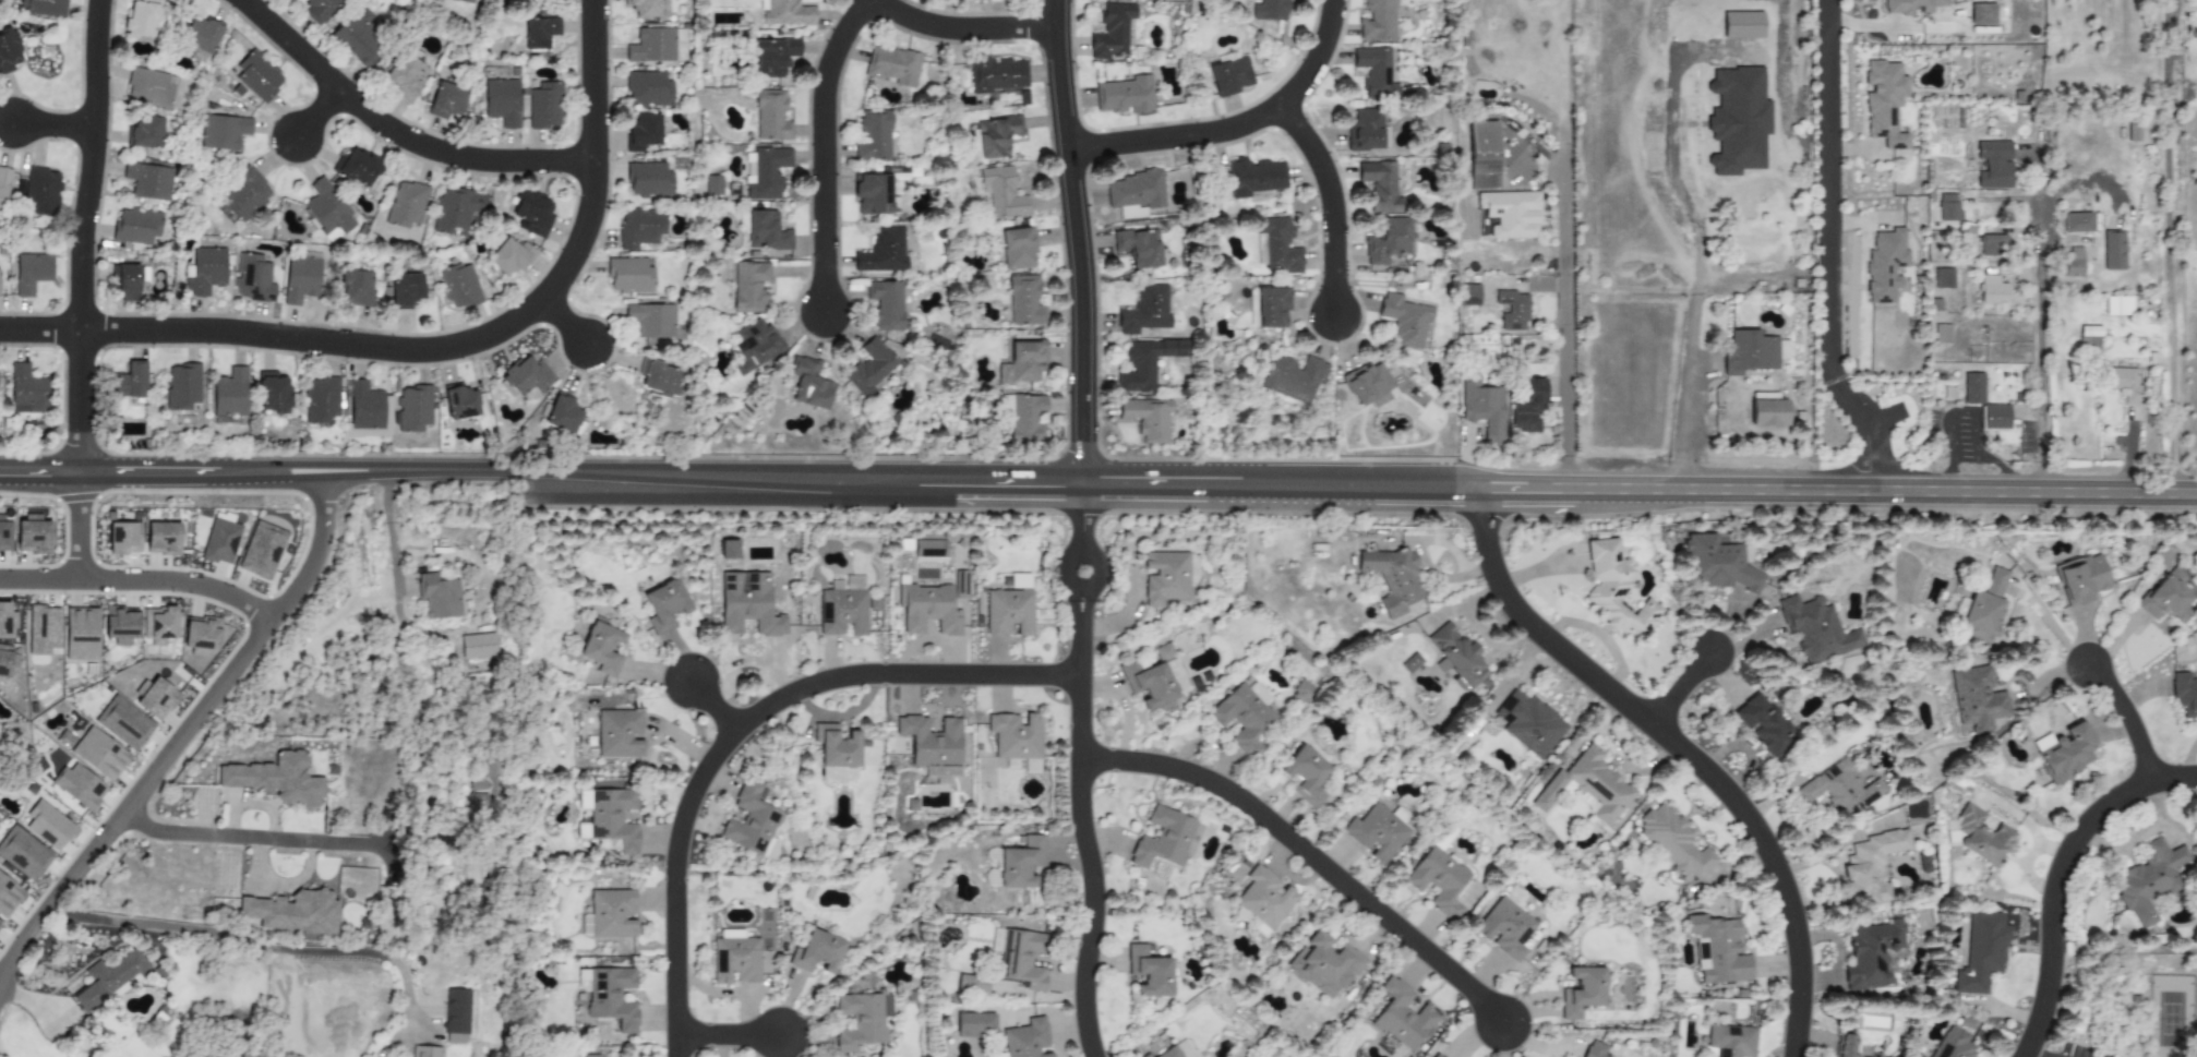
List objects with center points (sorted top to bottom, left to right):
building: (979, 0)
building: (472, 1)
building: (1911, 5)
building: (45, 8)
building: (643, 8)
building: (317, 9)
building: (1269, 10)
building: (785, 13)
building: (141, 19)
building: (1378, 21)
street lamp: (611, 25)
road: (962, 28)
building: (1112, 31)
building: (539, 33)
building: (201, 35)
building: (358, 37)
building: (651, 45)
building: (9, 50)
building: (773, 57)
building: (892, 65)
street lamp: (611, 67)
building: (1374, 72)
building: (405, 73)
building: (997, 74)
building: (256, 76)
building: (1229, 76)
building: (149, 87)
building: (648, 89)
building: (1124, 95)
building: (445, 100)
building: (501, 101)
building: (1884, 101)
building: (543, 106)
road: (317, 112)
building: (770, 115)
street lamp: (1188, 118)
road: (51, 125)
road: (1234, 127)
building: (1365, 129)
building: (223, 131)
building: (643, 131)
building: (146, 132)
road: (394, 132)
building: (2133, 132)
building: (874, 135)
building: (996, 136)
road: (821, 149)
building: (1482, 155)
road: (591, 156)
building: (1993, 164)
building: (357, 167)
building: (765, 172)
building: (1254, 178)
building: (648, 179)
building: (148, 180)
building: (712, 185)
building: (3, 187)
building: (1380, 187)
building: (39, 191)
building: (1003, 193)
building: (1134, 193)
building: (872, 194)
building: (244, 195)
road: (1331, 202)
building: (406, 205)
building: (1948, 207)
building: (456, 209)
building: (327, 211)
building: (532, 213)
building: (1510, 213)
street lamp: (840, 223)
building: (2076, 223)
building: (136, 226)
building: (639, 228)
building: (766, 231)
road: (81, 235)
building: (1388, 241)
road: (1076, 242)
building: (1275, 245)
building: (1992, 245)
building: (1139, 247)
road: (2169, 247)
building: (1018, 249)
building: (2112, 250)
building: (883, 251)
road: (1832, 252)
building: (509, 256)
building: (2070, 263)
building: (1885, 266)
building: (204, 271)
street lamp: (1059, 271)
building: (31, 272)
building: (628, 275)
building: (253, 278)
building: (300, 278)
building: (1942, 278)
building: (128, 284)
road: (1743, 284)
building: (459, 286)
building: (749, 287)
building: (356, 288)
building: (405, 290)
building: (1992, 290)
building: (1467, 295)
building: (1024, 301)
building: (886, 304)
building: (1271, 308)
building: (1512, 310)
building: (1145, 311)
street lamp: (227, 313)
road: (1568, 316)
building: (651, 320)
building: (1405, 320)
road: (563, 322)
road: (39, 329)
building: (1941, 333)
street lamp: (803, 338)
road: (316, 340)
building: (2088, 343)
building: (755, 346)
road: (1694, 348)
building: (1752, 352)
road: (2040, 352)
building: (1022, 362)
street lamp: (345, 363)
building: (1144, 363)
building: (869, 368)
building: (524, 376)
building: (658, 379)
building: (1294, 379)
building: (129, 381)
building: (2121, 382)
building: (809, 384)
building: (1368, 385)
building: (181, 386)
building: (1973, 388)
building: (26, 391)
building: (230, 393)
building: (273, 393)
building: (321, 399)
building: (460, 403)
building: (1482, 407)
building: (413, 408)
building: (1528, 408)
building: (368, 409)
building: (1767, 410)
road: (1968, 411)
building: (561, 415)
building: (1994, 417)
building: (1148, 418)
road: (2130, 456)
road: (327, 465)
road: (458, 469)
road: (39, 471)
road: (175, 471)
road: (355, 476)
road: (296, 477)
road: (1008, 483)
road: (1841, 491)
road: (77, 526)
building: (32, 534)
building: (4, 536)
building: (123, 538)
building: (161, 538)
building: (220, 542)
building: (728, 549)
building: (261, 550)
building: (929, 551)
building: (1717, 565)
road: (394, 567)
street lamp: (188, 568)
building: (1165, 577)
building: (1392, 578)
building: (2080, 579)
road: (140, 580)
building: (959, 585)
building: (1614, 590)
street lamp: (62, 596)
building: (437, 596)
building: (2166, 598)
building: (664, 604)
building: (747, 604)
building: (843, 608)
building: (927, 609)
building: (1983, 609)
building: (1008, 612)
building: (7, 621)
street lamp: (240, 623)
building: (120, 624)
building: (158, 624)
building: (43, 629)
building: (1816, 630)
building: (201, 633)
building: (81, 634)
building: (477, 646)
building: (601, 647)
building: (1162, 651)
building: (1456, 657)
building: (7, 659)
building: (1410, 662)
building: (1175, 675)
road: (1681, 689)
building: (1301, 692)
building: (2185, 696)
building: (155, 698)
building: (1977, 698)
road: (715, 700)
road: (2127, 712)
building: (1244, 716)
road: (736, 720)
building: (123, 722)
building: (1529, 723)
building: (1763, 724)
street lamp: (165, 732)
road: (183, 733)
building: (617, 733)
building: (1016, 736)
building: (836, 746)
building: (933, 746)
road: (1683, 749)
building: (2064, 752)
building: (98, 754)
building: (1030, 767)
road: (1081, 772)
building: (838, 774)
building: (1305, 776)
building: (275, 780)
building: (484, 784)
building: (79, 786)
building: (1587, 786)
building: (1839, 789)
building: (1403, 817)
building: (751, 819)
building: (48, 826)
street lamp: (92, 828)
building: (1376, 833)
building: (1979, 837)
road: (271, 839)
building: (1162, 839)
building: (1674, 842)
road: (1310, 852)
building: (23, 854)
building: (1015, 864)
building: (1871, 867)
road: (2057, 876)
building: (2149, 879)
building: (1438, 880)
building: (8, 896)
building: (1513, 896)
building: (1264, 898)
building: (292, 912)
building: (609, 914)
building: (0, 926)
building: (1504, 928)
road: (269, 947)
building: (1718, 950)
building: (1982, 951)
building: (816, 952)
building: (1873, 953)
building: (1019, 957)
building: (735, 960)
building: (1324, 965)
building: (1148, 972)
building: (107, 978)
building: (971, 985)
building: (1582, 992)
road: (23, 995)
building: (609, 995)
building: (456, 1016)
building: (1402, 1017)
building: (861, 1020)
building: (974, 1024)
road: (422, 1030)
road: (725, 1033)
building: (1027, 1040)
building: (1730, 1041)
building: (1953, 1044)
building: (1846, 1045)
building: (1594, 1049)
building: (1179, 1050)
building: (425, 1052)
road: (2030, 1054)
building: (591, 1055)
building: (999, 1055)
building: (1437, 1055)
building: (1146, 1056)

